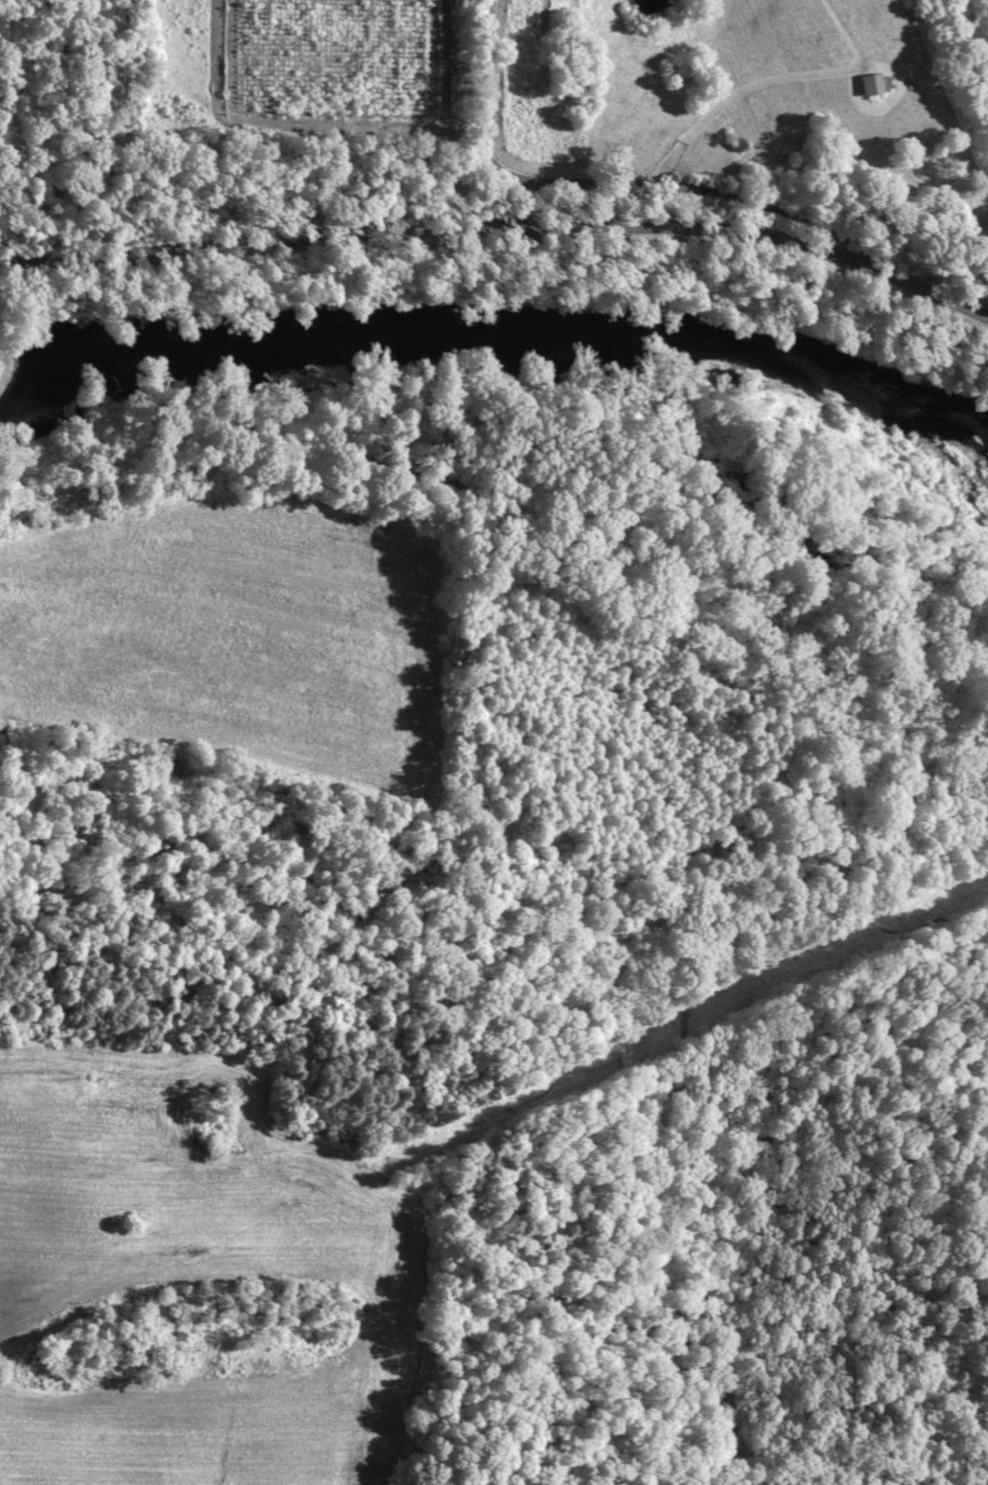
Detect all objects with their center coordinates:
building: (867, 83)
road: (611, 184)
road: (501, 223)
river: (496, 336)

